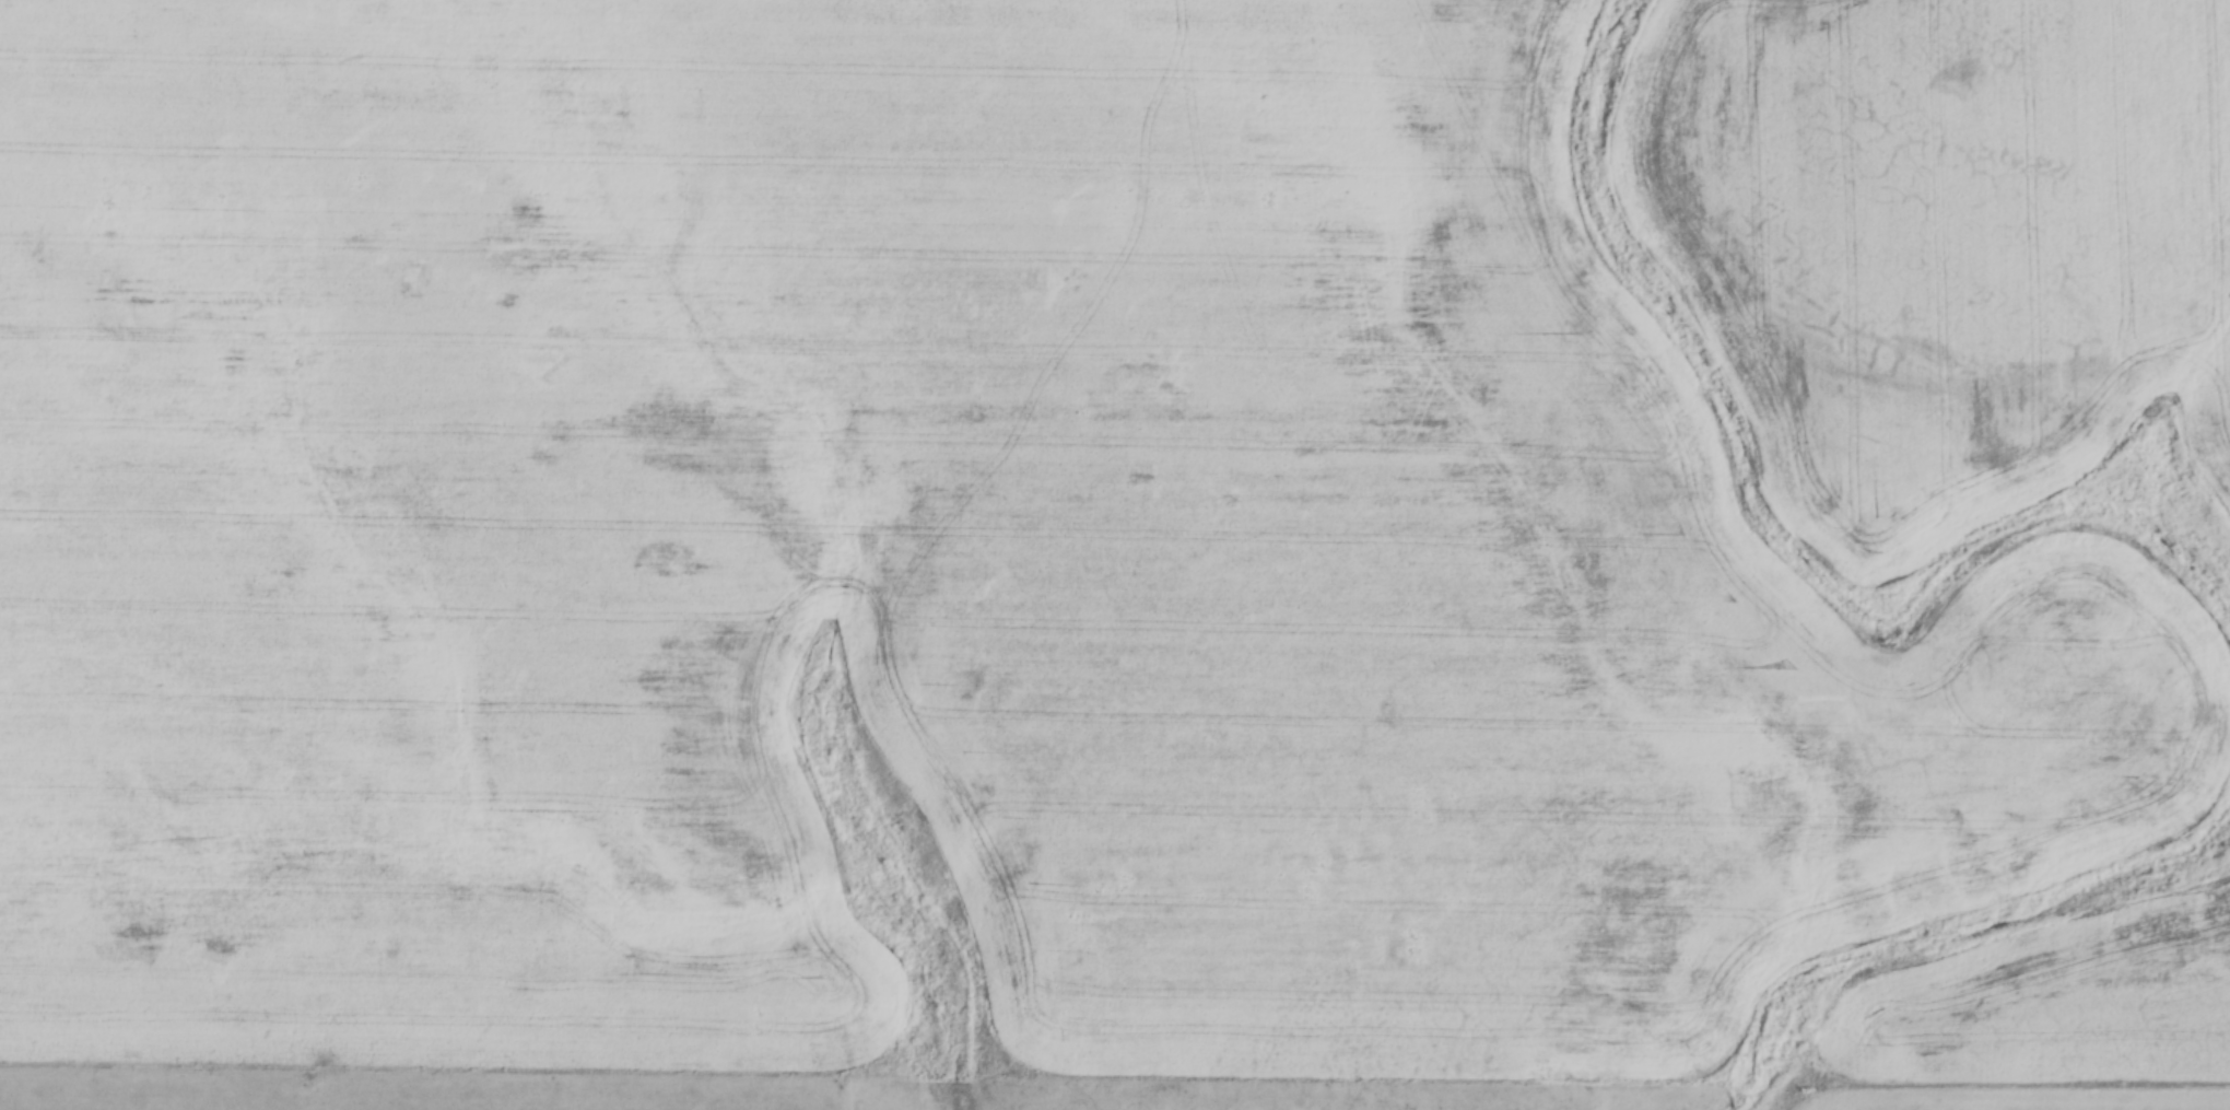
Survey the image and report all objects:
building: (1780, 656)

